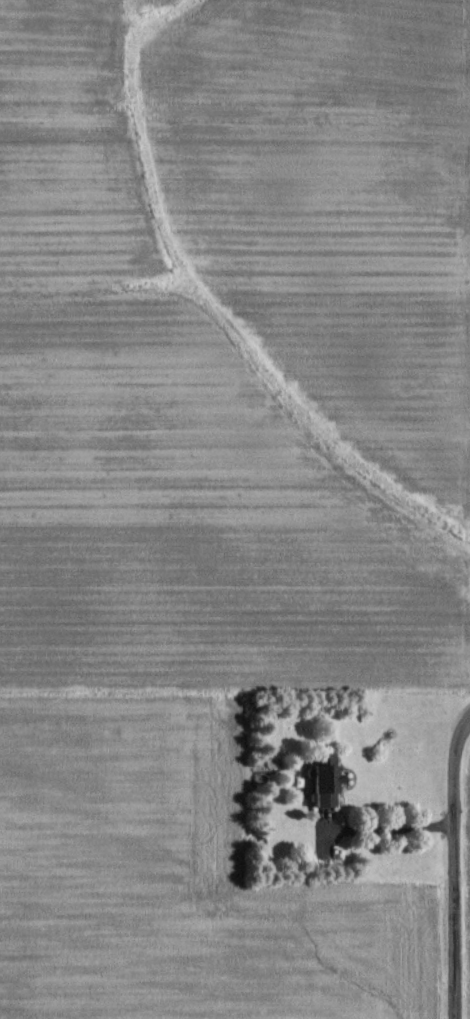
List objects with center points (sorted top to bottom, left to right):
road: (467, 711)
building: (320, 782)
road: (456, 865)

